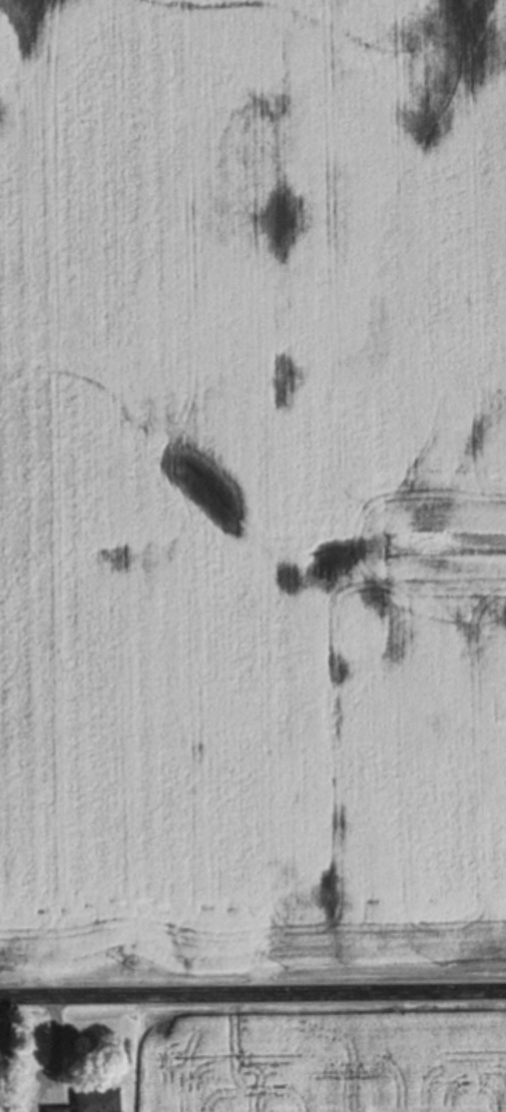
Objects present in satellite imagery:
road: (252, 994)
building: (95, 1100)
building: (57, 1109)

